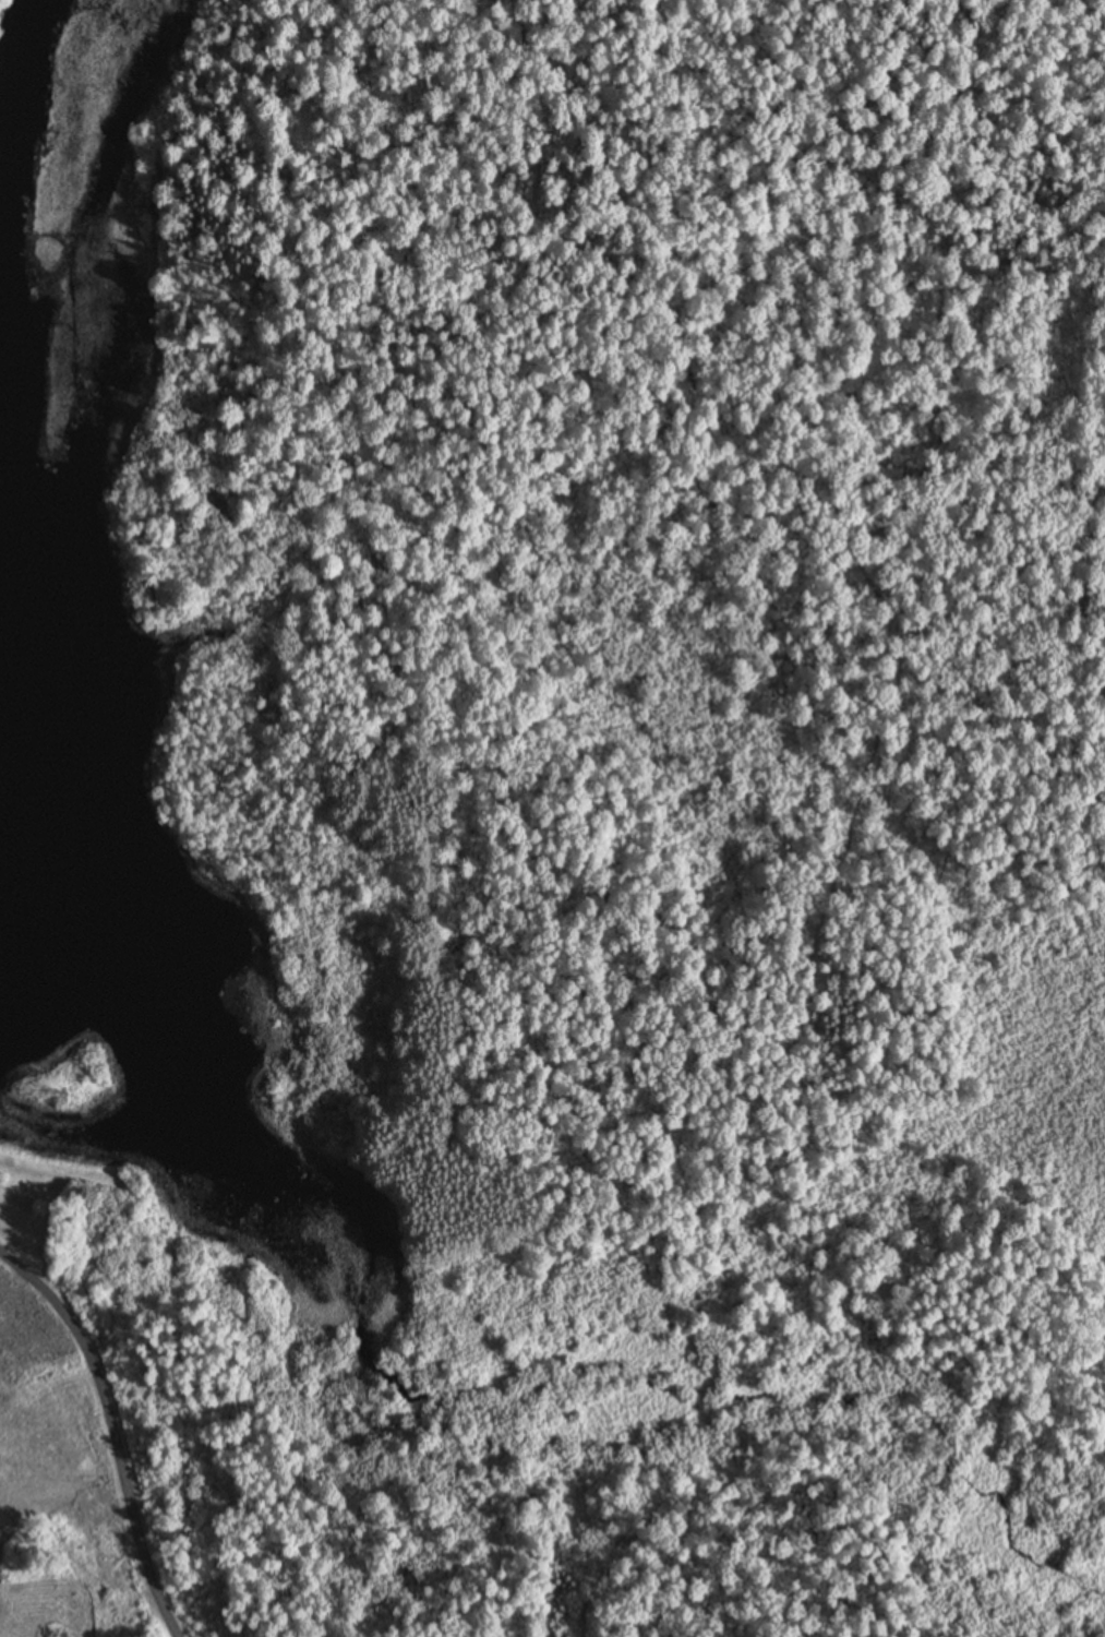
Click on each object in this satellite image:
river: (34, 247)
park: (81, 1444)

